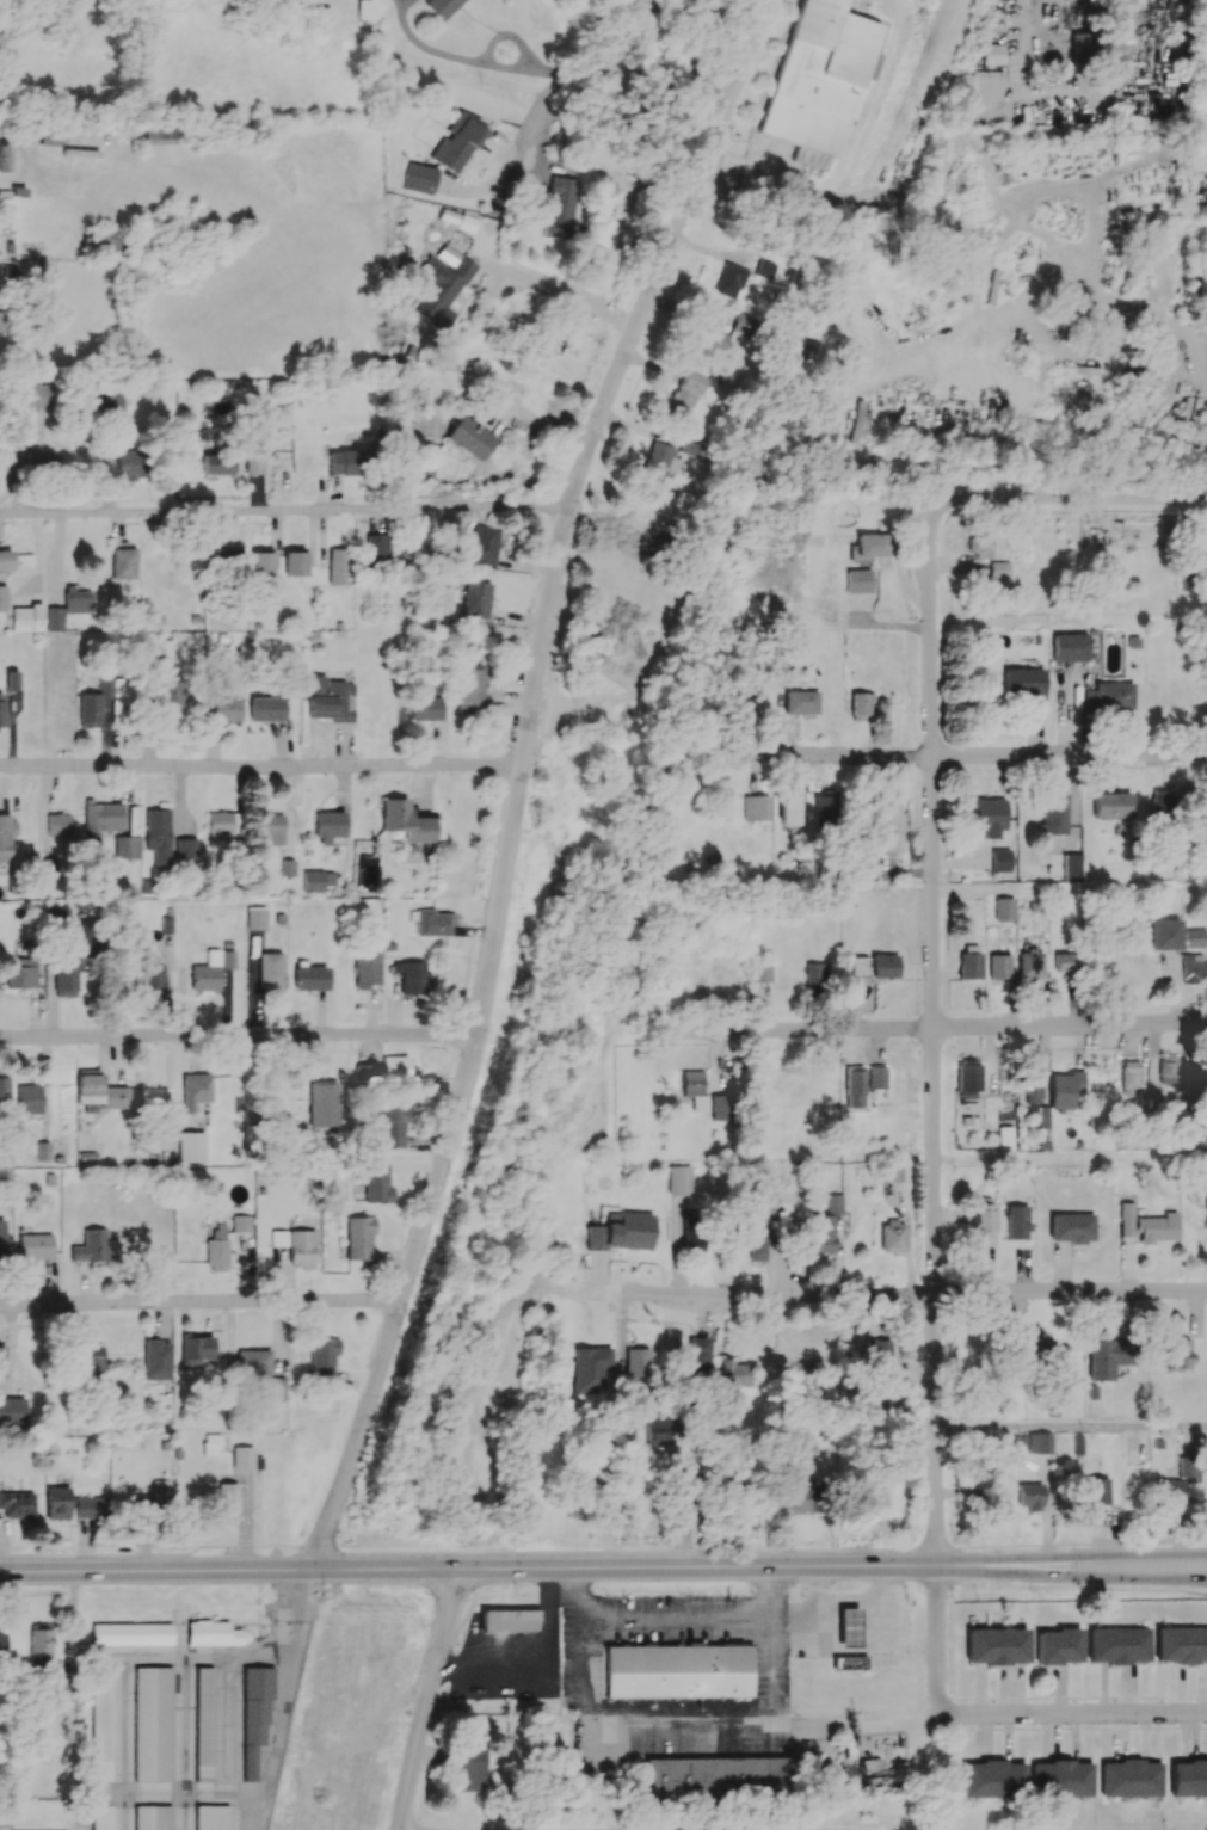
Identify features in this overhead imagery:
building: (441, 7)
building: (369, 8)
road: (700, 41)
building: (1082, 43)
road: (599, 44)
road: (424, 47)
building: (993, 54)
road: (481, 63)
road: (657, 78)
building: (820, 80)
road: (731, 93)
building: (161, 133)
building: (49, 137)
building: (457, 142)
road: (27, 153)
building: (5, 158)
building: (419, 178)
road: (690, 203)
building: (559, 208)
building: (101, 240)
building: (1201, 279)
building: (729, 281)
building: (444, 285)
road: (565, 301)
building: (0, 321)
road: (1200, 339)
building: (713, 343)
road: (1092, 364)
road: (1194, 364)
building: (411, 378)
building: (686, 393)
building: (39, 395)
building: (112, 407)
building: (470, 438)
building: (669, 457)
building: (37, 458)
building: (254, 460)
building: (218, 462)
building: (344, 462)
building: (129, 464)
road: (578, 476)
road: (285, 511)
building: (482, 544)
building: (873, 544)
building: (376, 547)
building: (980, 547)
building: (634, 554)
building: (224, 557)
building: (6, 560)
building: (295, 561)
building: (123, 562)
building: (261, 563)
building: (339, 566)
building: (999, 569)
building: (1191, 578)
building: (858, 580)
building: (4, 598)
building: (476, 599)
building: (69, 608)
building: (26, 618)
building: (1069, 647)
building: (162, 651)
building: (12, 679)
building: (1024, 684)
building: (470, 688)
building: (171, 692)
building: (1108, 697)
building: (328, 698)
building: (94, 702)
building: (801, 702)
building: (427, 705)
building: (861, 707)
building: (226, 708)
building: (266, 708)
building: (1, 711)
road: (972, 754)
road: (261, 769)
building: (1203, 802)
building: (1162, 803)
building: (1110, 806)
building: (825, 807)
building: (757, 808)
building: (789, 809)
building: (888, 811)
building: (1053, 813)
building: (987, 817)
building: (100, 818)
building: (407, 821)
building: (222, 824)
building: (58, 826)
building: (328, 826)
building: (270, 828)
building: (158, 836)
building: (5, 837)
building: (887, 840)
building: (127, 846)
building: (186, 849)
building: (1000, 859)
building: (1071, 867)
building: (316, 880)
building: (1004, 908)
building: (255, 918)
building: (431, 922)
building: (1164, 934)
building: (1196, 937)
building: (969, 961)
building: (1064, 961)
building: (1029, 965)
building: (883, 966)
building: (999, 966)
building: (1194, 967)
building: (211, 969)
building: (269, 969)
building: (365, 969)
road: (932, 971)
building: (21, 972)
building: (760, 972)
building: (152, 974)
building: (411, 975)
building: (815, 975)
building: (309, 978)
road: (938, 1034)
road: (236, 1039)
building: (395, 1070)
building: (1166, 1071)
building: (1129, 1074)
building: (364, 1076)
building: (968, 1076)
building: (876, 1077)
building: (1189, 1079)
building: (1032, 1085)
building: (854, 1086)
building: (4, 1087)
building: (694, 1089)
building: (195, 1091)
building: (1067, 1091)
building: (27, 1098)
building: (321, 1104)
building: (722, 1107)
building: (1043, 1116)
building: (393, 1126)
building: (1004, 1138)
building: (190, 1146)
building: (86, 1158)
road: (442, 1166)
building: (889, 1171)
building: (377, 1182)
building: (983, 1221)
building: (1016, 1221)
building: (240, 1222)
building: (825, 1225)
building: (1147, 1225)
building: (1071, 1227)
building: (621, 1232)
building: (892, 1236)
building: (2, 1237)
building: (359, 1237)
building: (758, 1238)
building: (296, 1245)
building: (36, 1246)
building: (90, 1246)
building: (216, 1255)
road: (897, 1294)
road: (199, 1305)
building: (1039, 1349)
building: (196, 1351)
building: (1177, 1354)
building: (697, 1355)
building: (91, 1357)
building: (324, 1357)
building: (1103, 1358)
building: (156, 1360)
building: (2, 1361)
building: (253, 1361)
building: (636, 1361)
building: (735, 1372)
building: (277, 1388)
building: (12, 1411)
road: (1072, 1428)
building: (659, 1429)
building: (1040, 1442)
building: (211, 1444)
building: (242, 1458)
building: (160, 1492)
building: (1170, 1492)
building: (1097, 1493)
building: (1029, 1496)
building: (227, 1497)
building: (799, 1501)
building: (57, 1503)
building: (17, 1504)
building: (90, 1508)
road: (602, 1548)
road: (1071, 1557)
road: (468, 1569)
road: (1071, 1575)
road: (1072, 1586)
road: (864, 1600)
road: (817, 1616)
building: (509, 1620)
road: (676, 1620)
building: (848, 1627)
building: (131, 1633)
building: (215, 1633)
building: (1, 1643)
building: (1181, 1644)
building: (39, 1645)
building: (1117, 1645)
building: (994, 1646)
building: (1058, 1646)
road: (858, 1651)
road: (135, 1662)
building: (849, 1663)
building: (677, 1670)
road: (775, 1676)
road: (579, 1678)
road: (284, 1699)
road: (426, 1699)
road: (1071, 1711)
building: (254, 1715)
building: (101, 1724)
building: (152, 1724)
building: (202, 1724)
road: (762, 1733)
building: (470, 1769)
building: (874, 1772)
building: (720, 1776)
building: (1129, 1777)
building: (992, 1779)
building: (1060, 1779)
building: (1188, 1779)
road: (124, 1801)
building: (101, 1817)
building: (152, 1817)
building: (211, 1817)

